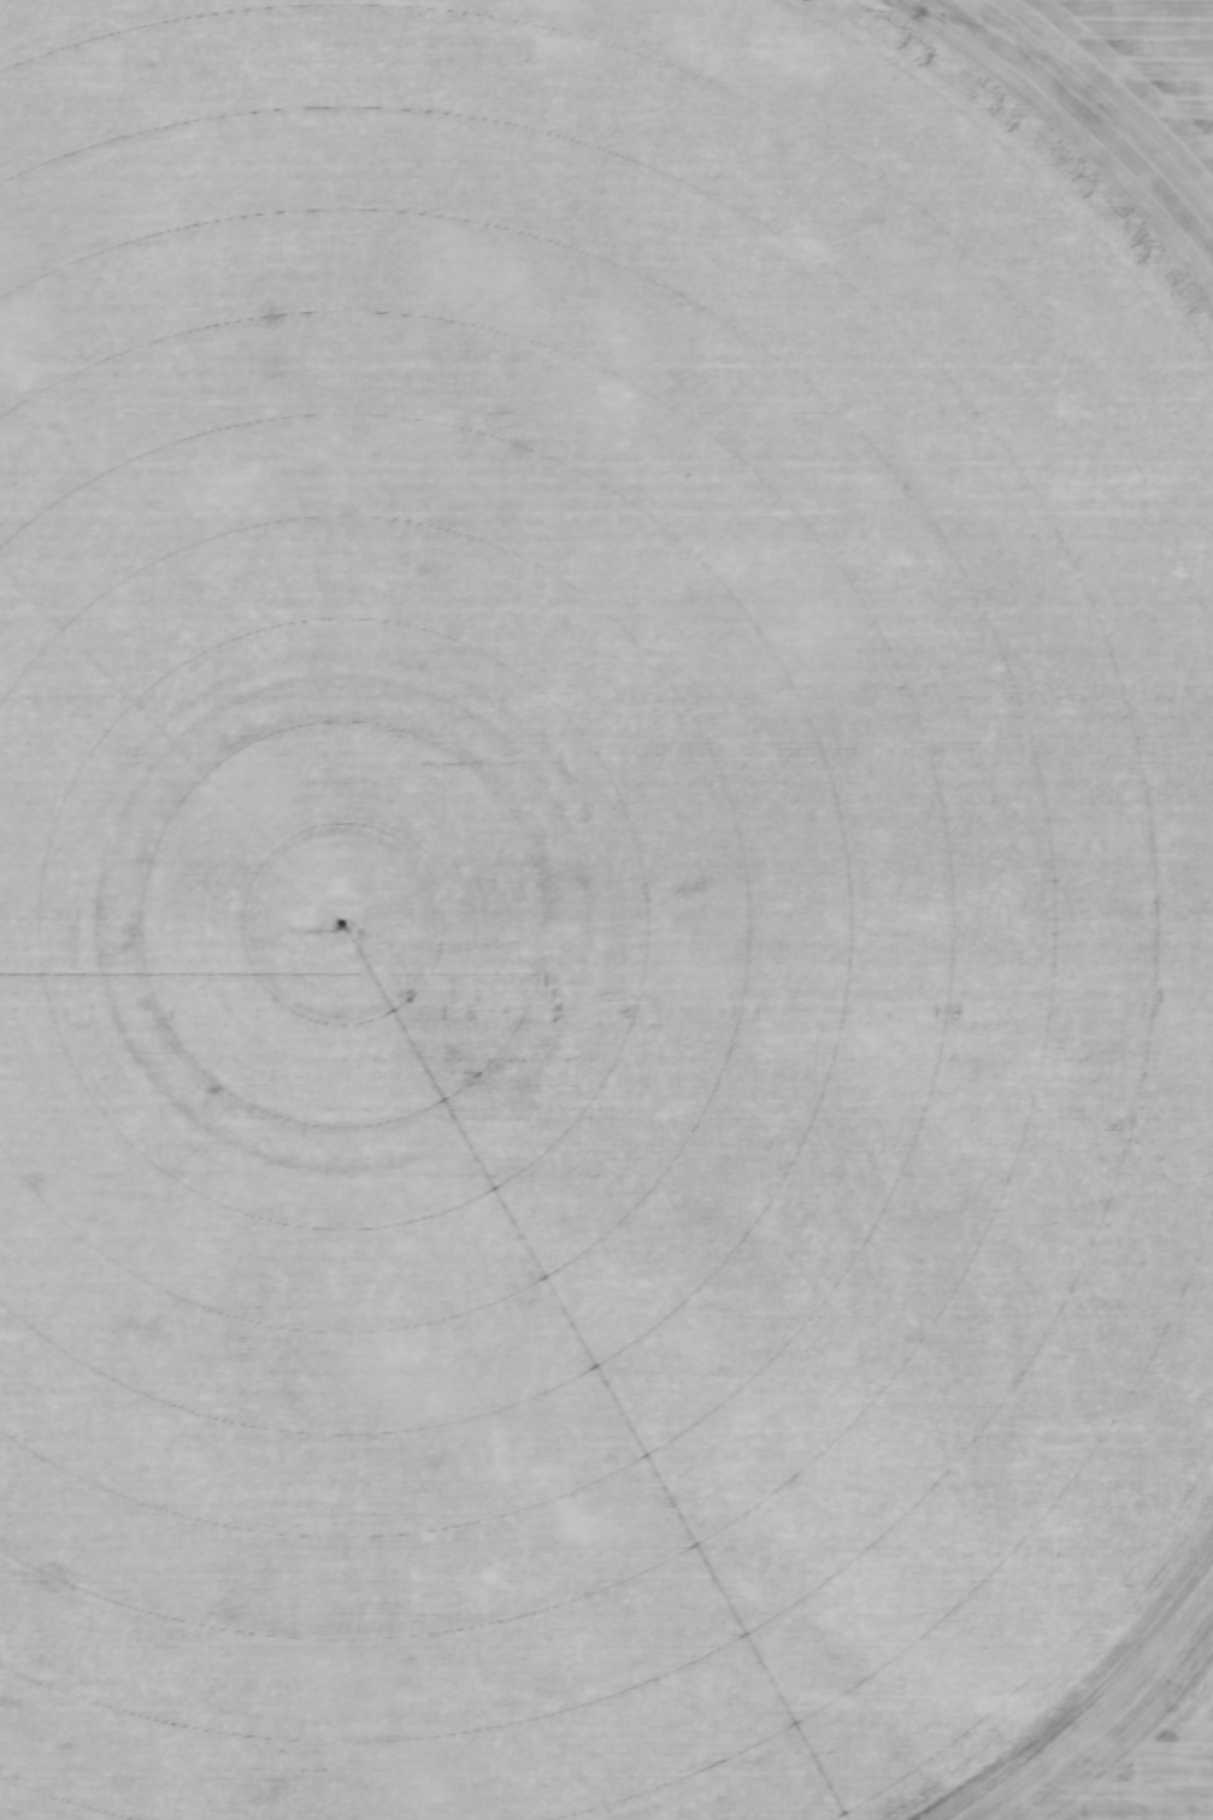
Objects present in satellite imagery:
crop: (606, 909)

